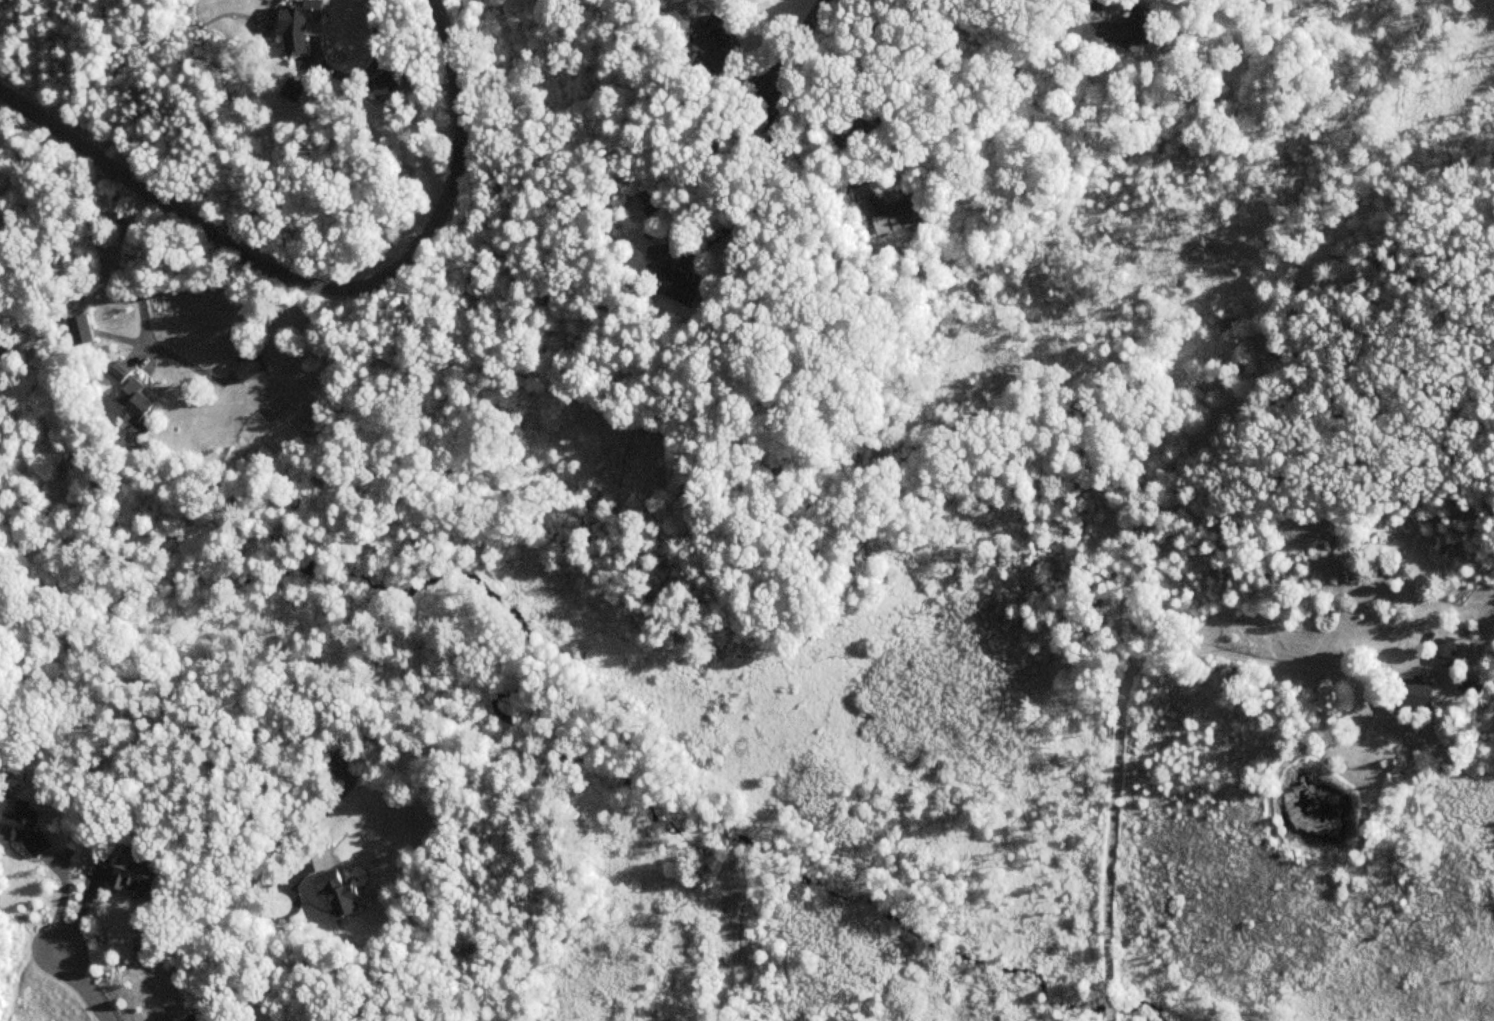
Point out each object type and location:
building: (295, 25)
building: (1123, 31)
building: (712, 35)
road: (802, 47)
road: (367, 73)
building: (868, 120)
road: (823, 129)
road: (763, 184)
building: (889, 214)
road: (130, 262)
building: (668, 280)
road: (314, 296)
building: (79, 331)
building: (246, 367)
building: (128, 394)
building: (1443, 652)
road: (1120, 695)
building: (1412, 696)
building: (341, 759)
building: (130, 875)
road: (282, 887)
building: (335, 896)
road: (83, 984)
road: (205, 994)

